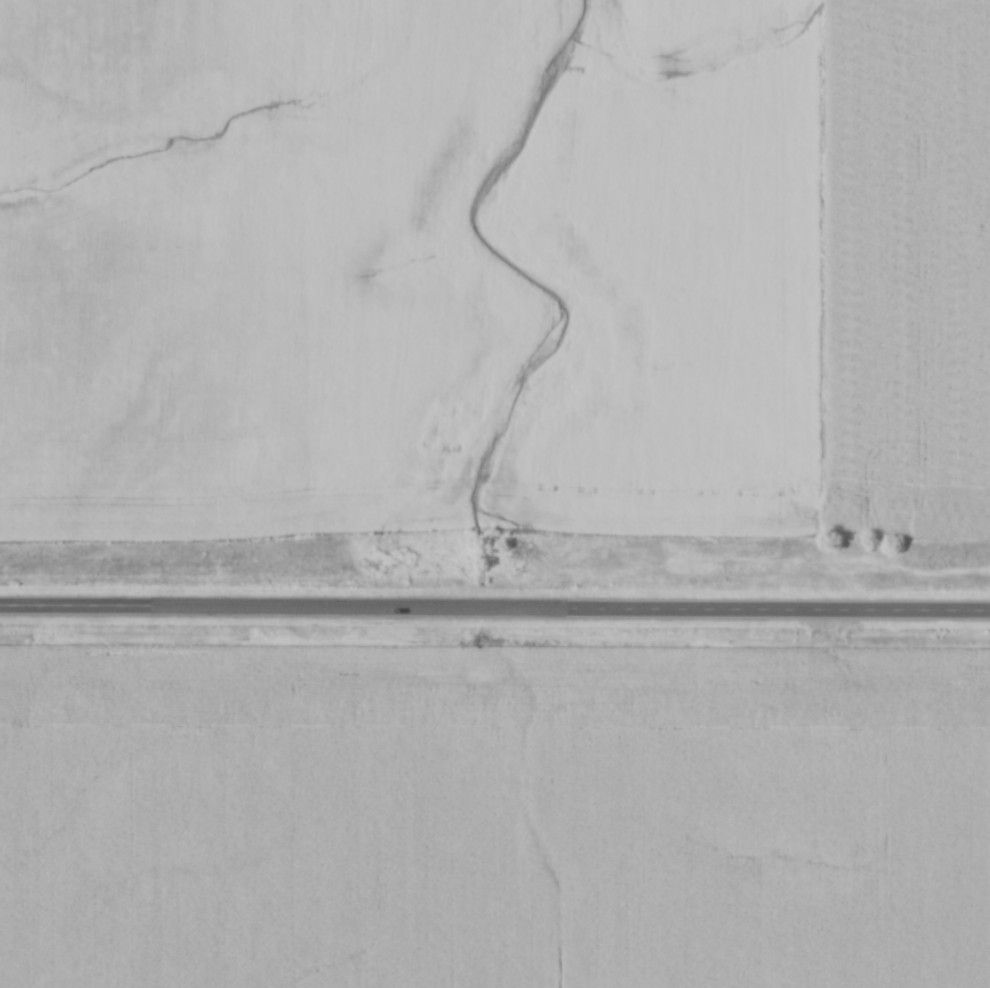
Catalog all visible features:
road: (495, 596)

